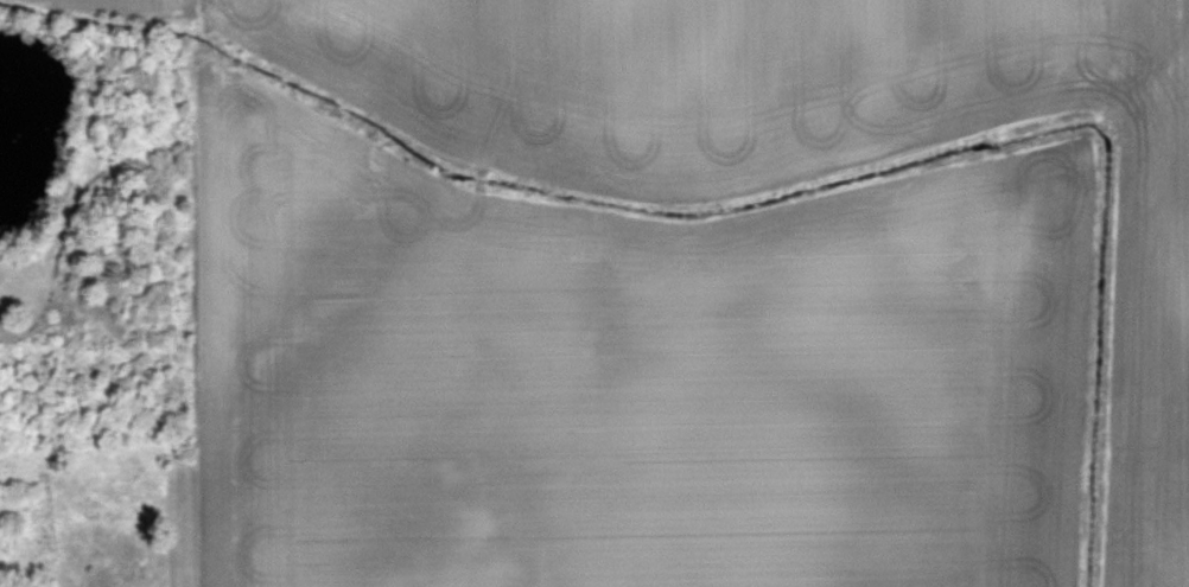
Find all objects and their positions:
road: (77, 292)

